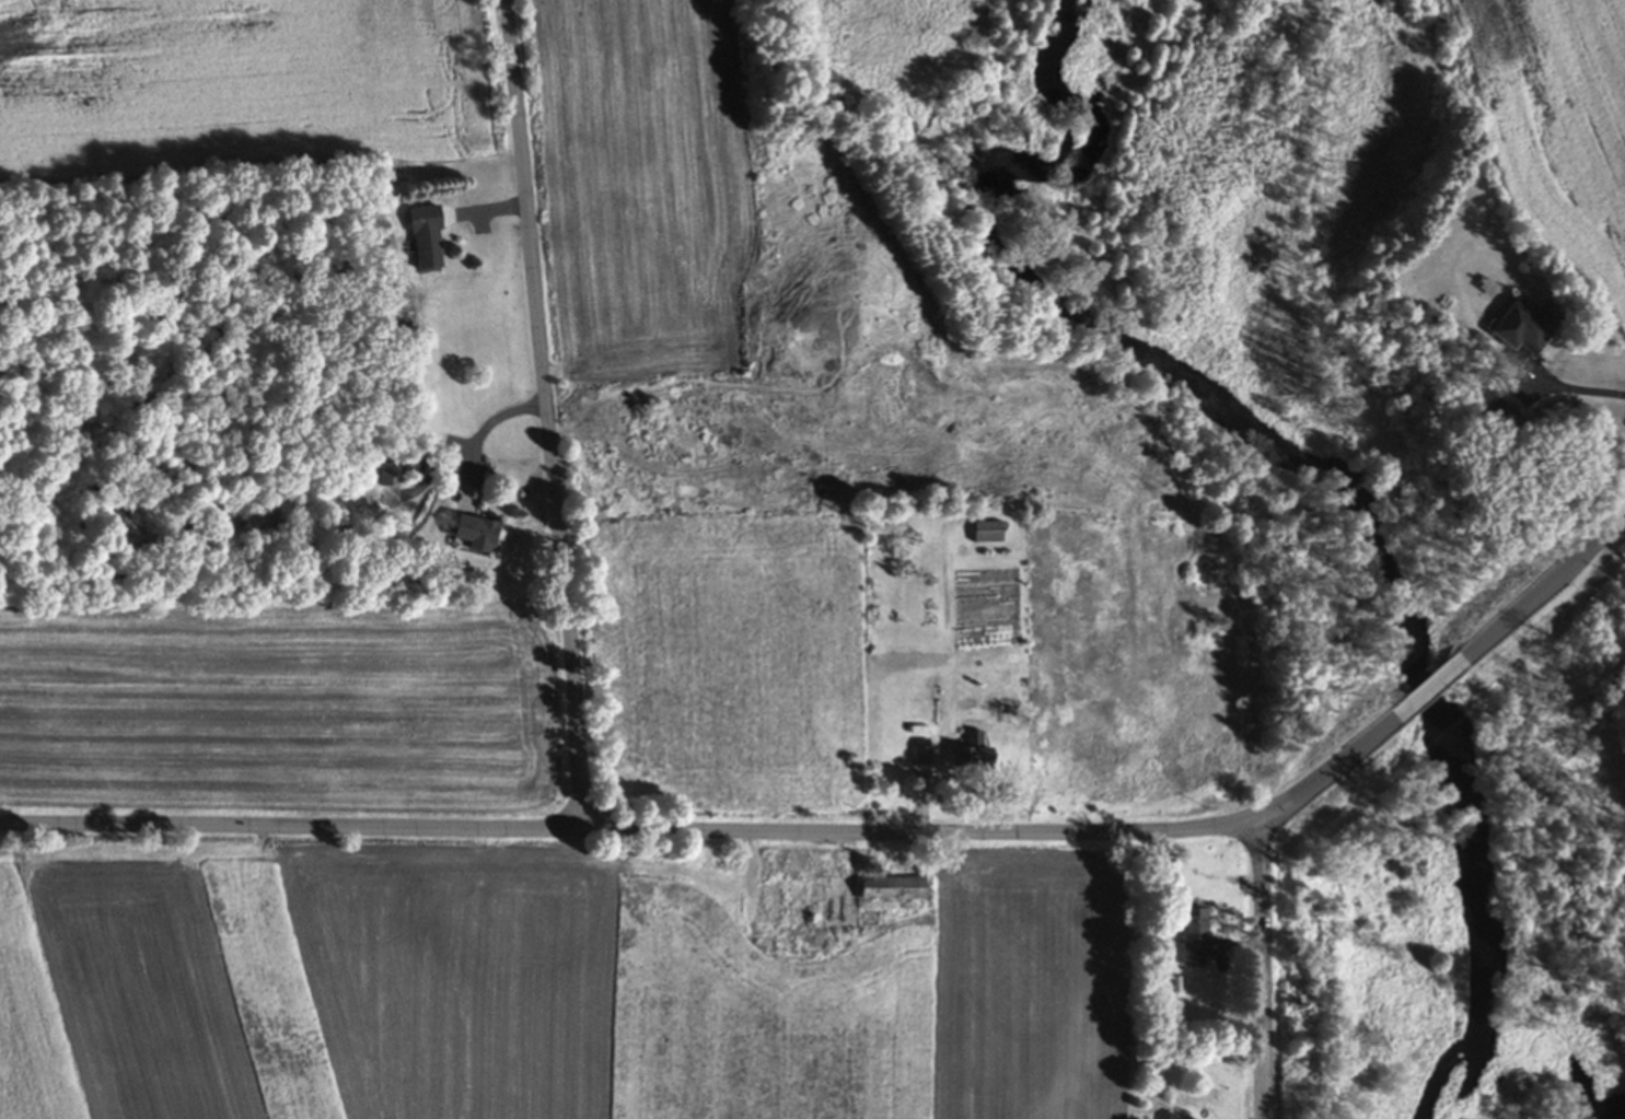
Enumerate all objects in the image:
building: (420, 240)
building: (1520, 329)
road: (1575, 388)
road: (548, 416)
road: (481, 431)
river: (1287, 461)
building: (982, 534)
building: (469, 536)
road: (1534, 603)
road: (1426, 695)
building: (967, 755)
road: (722, 834)
building: (890, 890)
building: (788, 907)
building: (1188, 941)
road: (1265, 967)
building: (1170, 1116)

